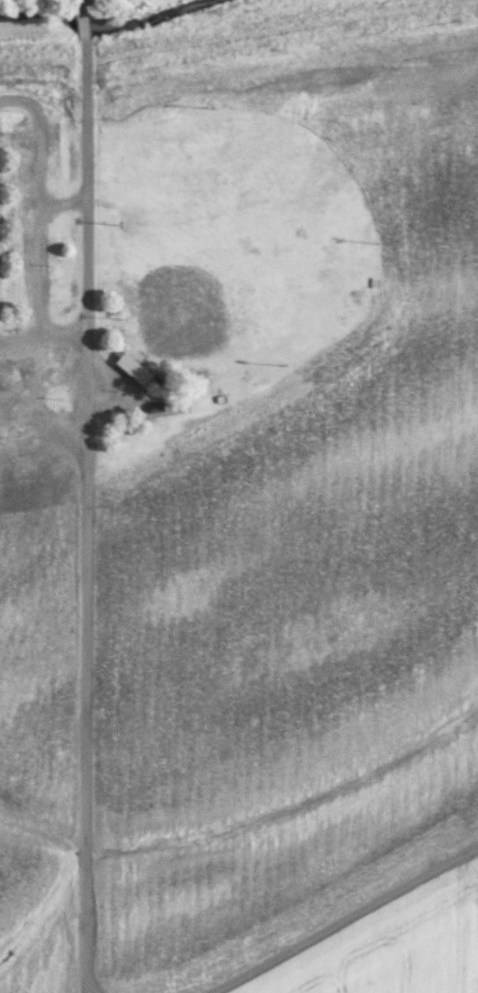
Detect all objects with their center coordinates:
road: (60, 202)
road: (37, 205)
road: (60, 332)
road: (20, 337)
building: (132, 368)
road: (78, 511)
road: (319, 942)

